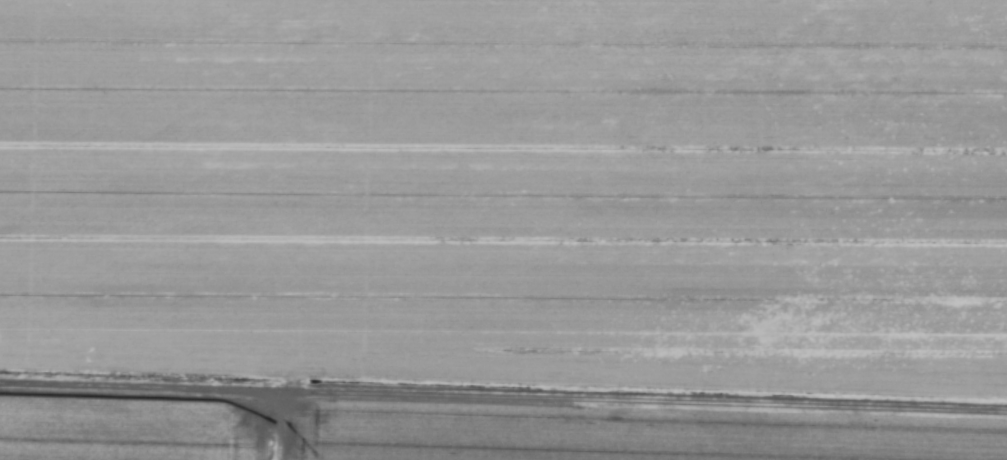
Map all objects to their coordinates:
crop: (503, 230)
road: (503, 401)

